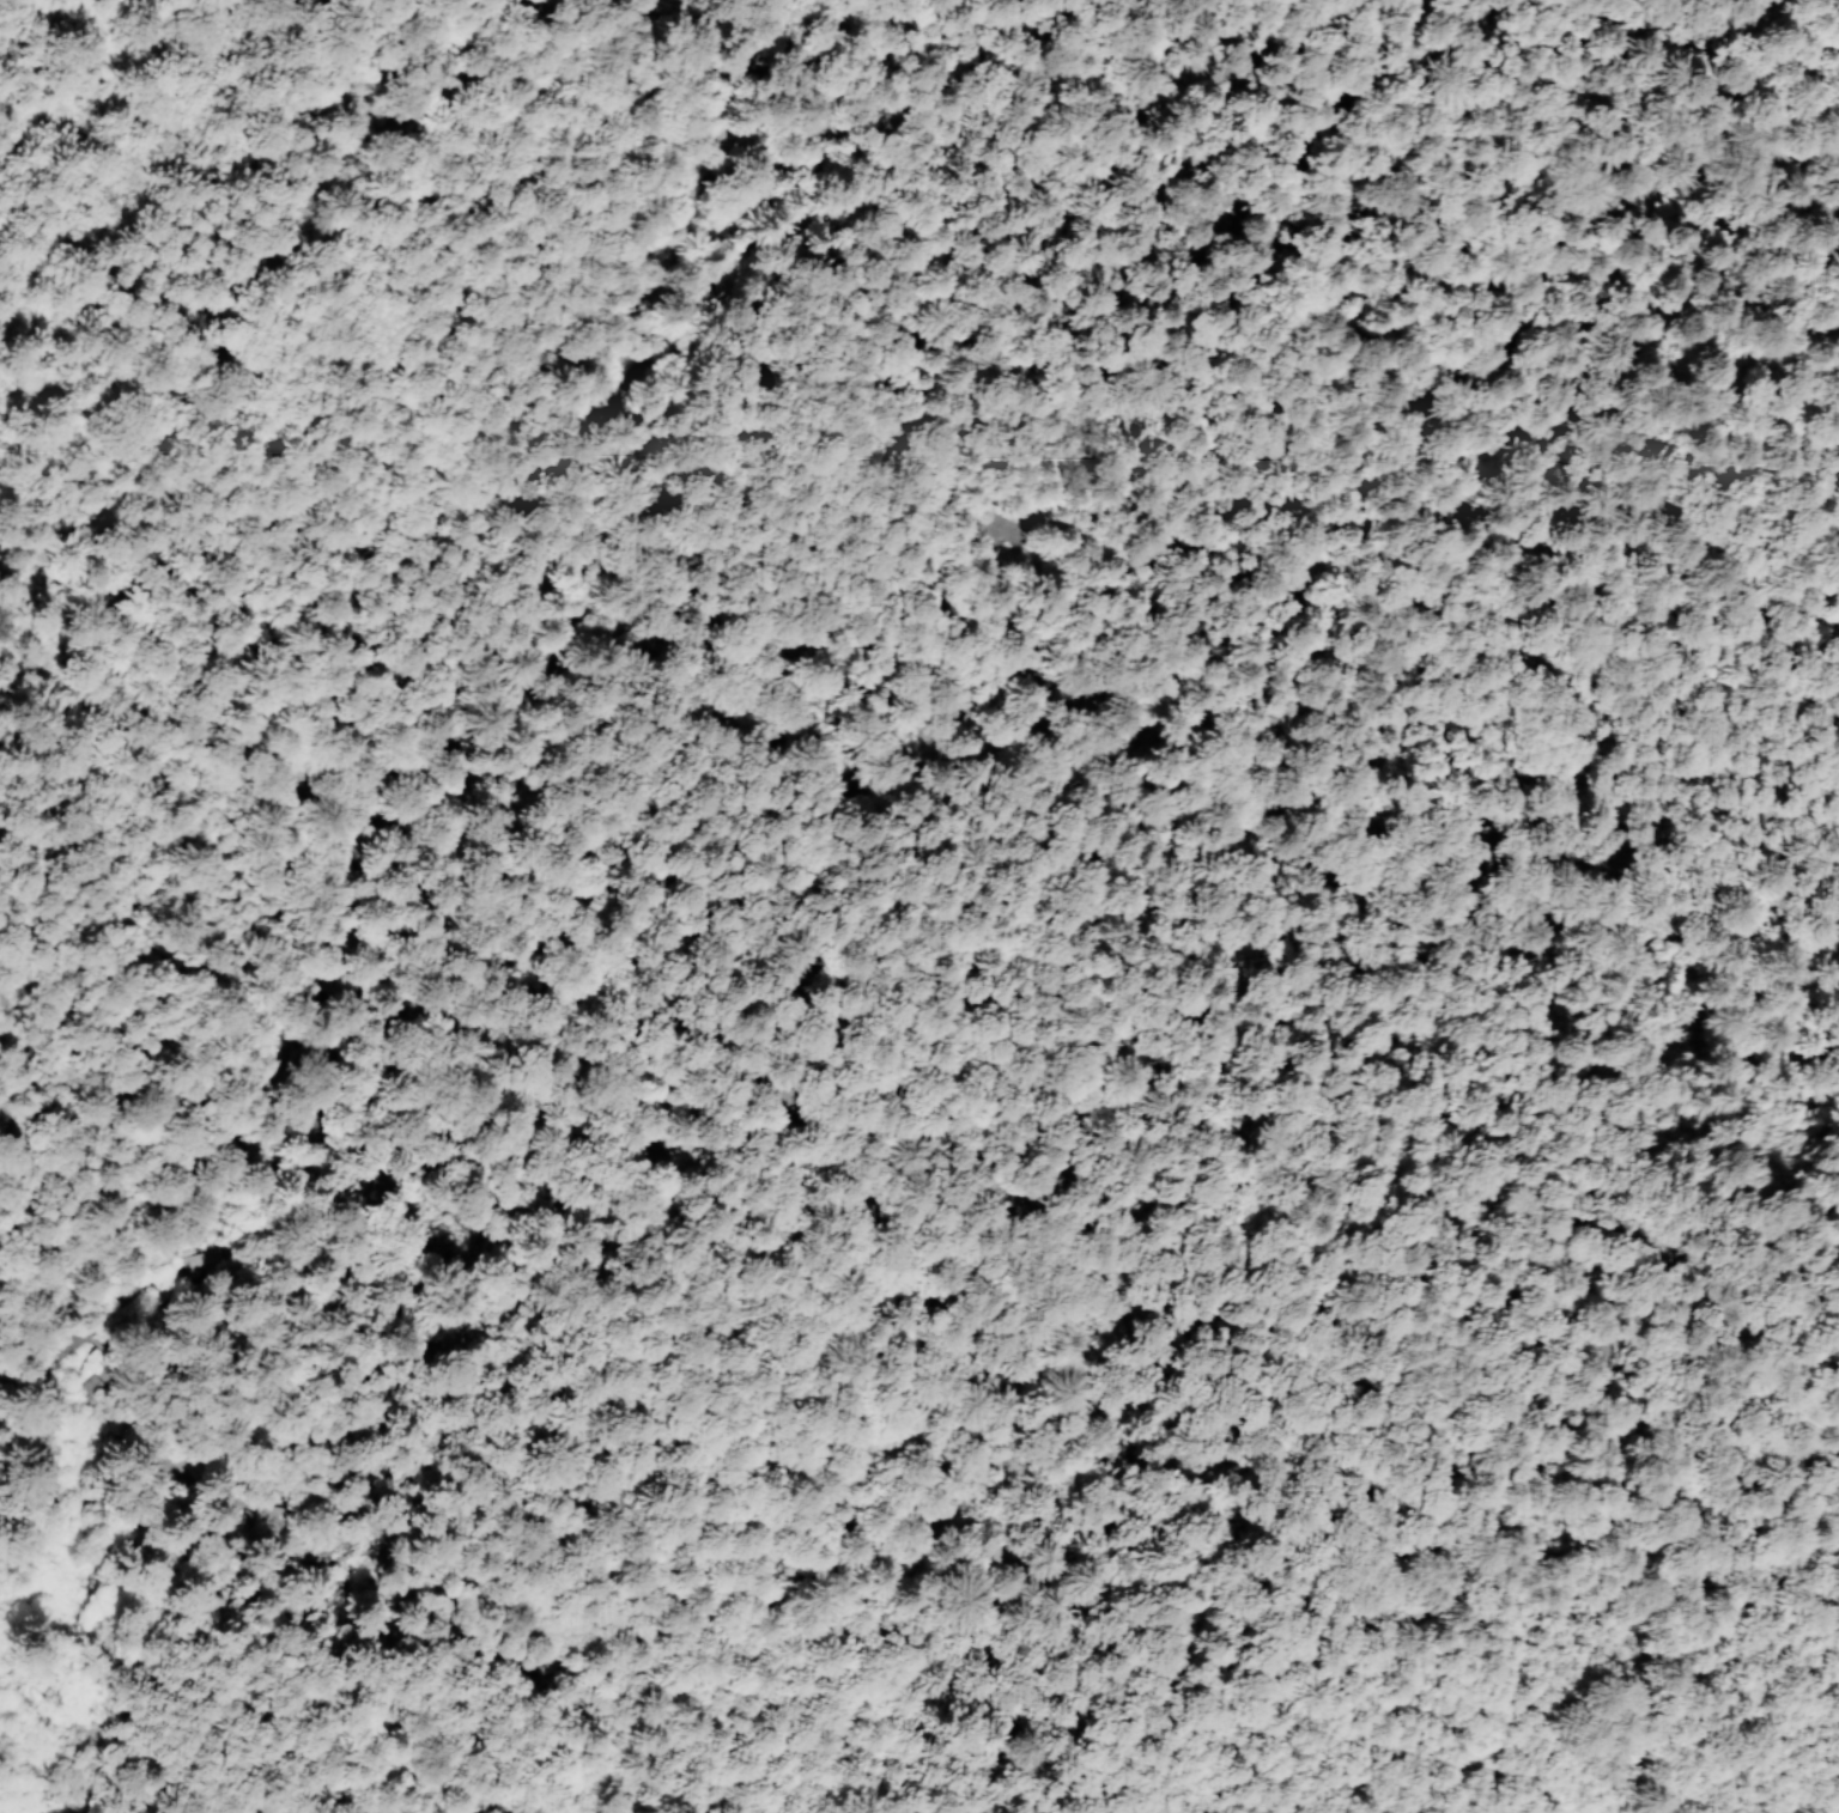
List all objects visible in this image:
road: (1360, 37)
road: (791, 59)
road: (734, 104)
road: (1820, 197)
road: (1699, 273)
road: (272, 275)
road: (928, 317)
road: (445, 352)
road: (1459, 376)
road: (641, 418)
road: (795, 659)
road: (771, 675)
parking lot: (539, 724)
road: (485, 766)
road: (445, 817)
road: (463, 828)
road: (123, 839)
road: (435, 959)
road: (366, 1034)
road: (679, 1128)
road: (253, 1230)
road: (150, 1310)
road: (171, 1342)
road: (92, 1350)
road: (212, 1407)
road: (198, 1422)
road: (236, 1601)
road: (1453, 1782)

